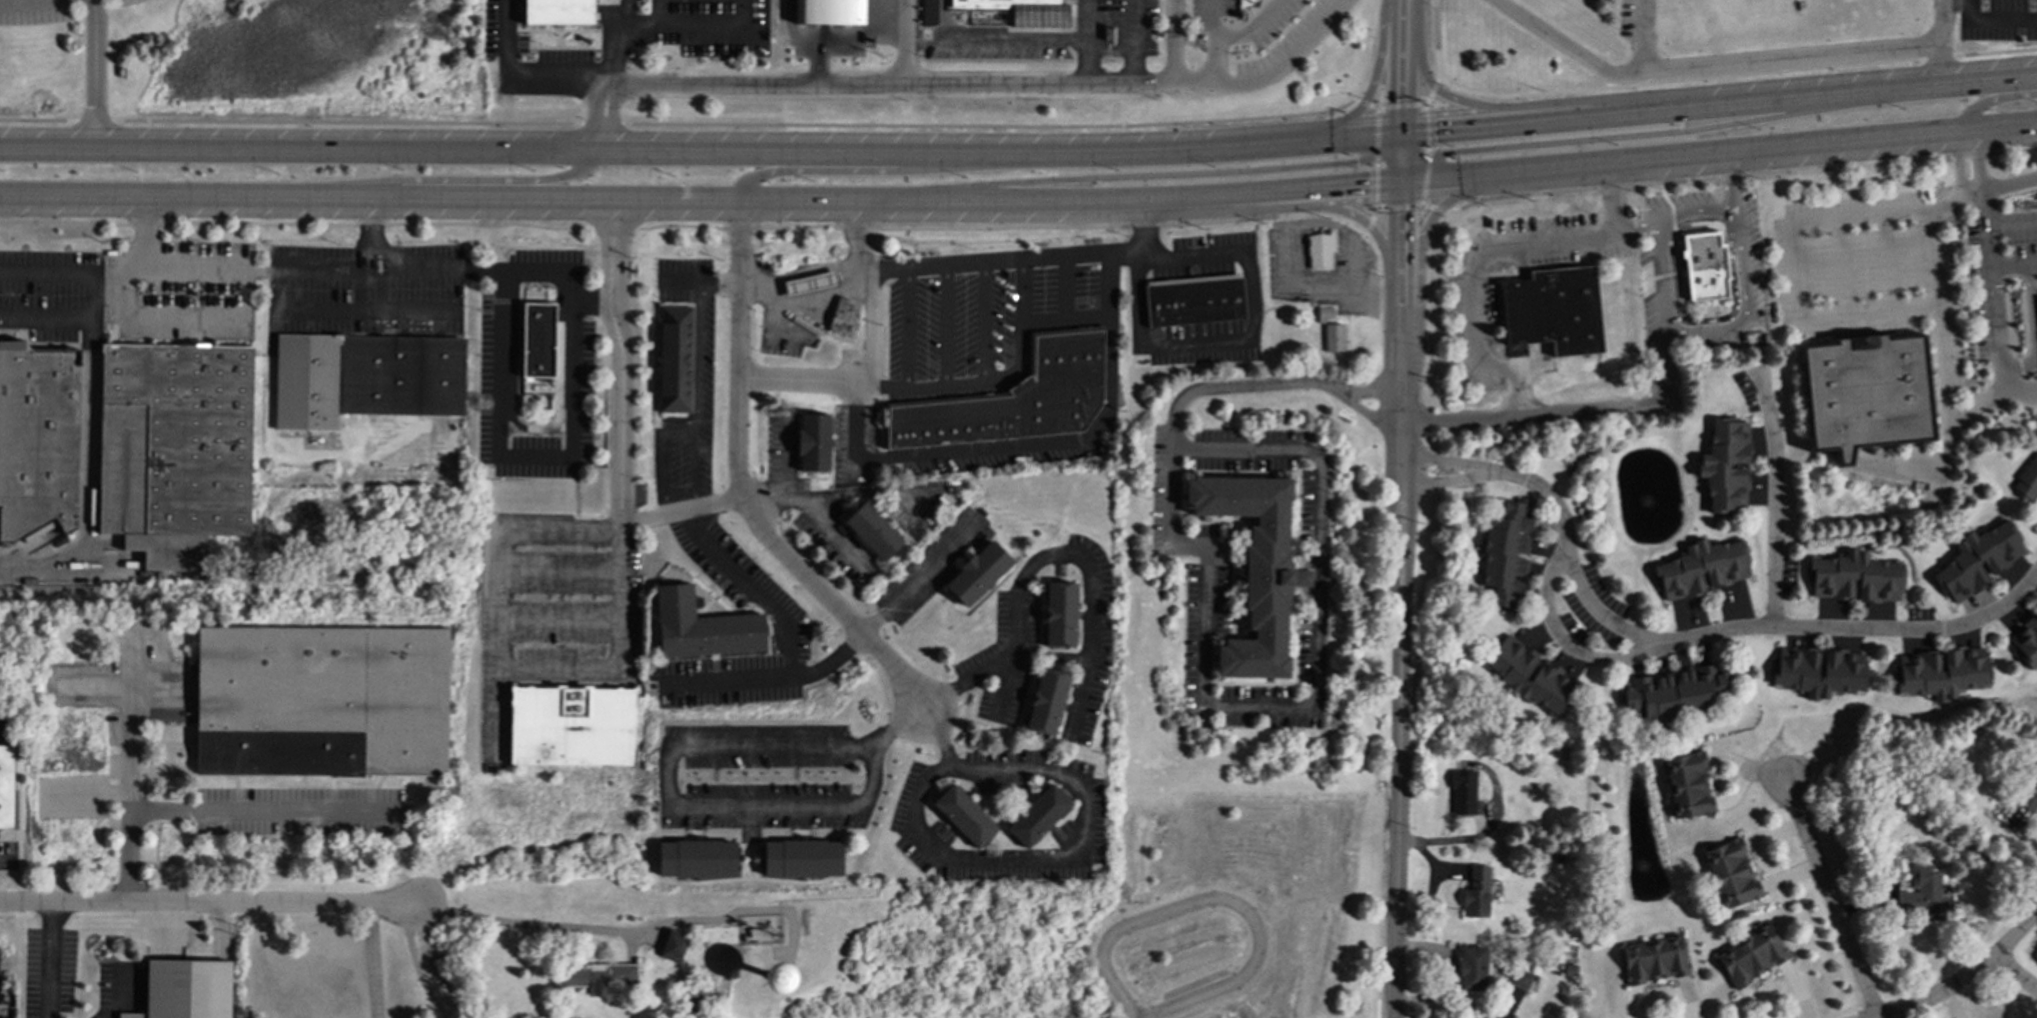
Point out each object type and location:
road: (16, 1)
parking lot: (634, 2)
road: (879, 2)
parking lot: (123, 3)
building: (1020, 10)
parking lot: (35, 11)
building: (558, 12)
road: (807, 12)
building: (829, 12)
building: (929, 12)
road: (891, 13)
road: (661, 14)
road: (629, 16)
road: (1211, 18)
parking lot: (1632, 18)
parking lot: (1997, 19)
road: (944, 20)
road: (1087, 20)
road: (1940, 22)
road: (1992, 22)
parking lot: (710, 26)
road: (700, 28)
road: (506, 29)
parking lot: (1062, 36)
road: (1232, 37)
road: (1644, 37)
road: (848, 39)
parking lot: (1260, 39)
road: (1436, 39)
road: (996, 40)
road: (1174, 41)
road: (906, 42)
road: (1135, 42)
road: (1111, 50)
road: (1994, 51)
parking lot: (563, 52)
flagpole: (880, 54)
road: (1287, 57)
road: (1938, 57)
road: (1086, 62)
park: (242, 63)
road: (1402, 66)
road: (1723, 66)
road: (93, 73)
road: (1680, 80)
road: (590, 83)
road: (1194, 83)
road: (861, 85)
road: (1370, 89)
road: (1432, 91)
traffic signals: (1402, 99)
road: (1990, 100)
road: (1365, 103)
road: (1402, 105)
road: (1719, 105)
road: (1517, 106)
road: (729, 124)
traffic signals: (1434, 130)
road: (1635, 136)
road: (1823, 144)
road: (701, 151)
traffic signals: (1447, 153)
road: (1428, 154)
road: (1375, 158)
road: (1402, 158)
traffic signals: (1357, 162)
road: (1977, 162)
road: (1958, 166)
road: (874, 172)
road: (1505, 173)
road: (1153, 175)
road: (1741, 176)
road: (452, 180)
road: (1731, 182)
traffic signals: (1369, 185)
road: (2006, 186)
road: (1612, 197)
road: (701, 201)
road: (1294, 206)
road: (1984, 206)
road: (1397, 207)
road: (1434, 208)
traffic signals: (1402, 213)
road: (1698, 215)
road: (2012, 220)
road: (1370, 221)
road: (1312, 223)
road: (685, 225)
road: (1147, 225)
road: (1402, 228)
road: (1639, 229)
road: (146, 230)
road: (369, 233)
road: (1419, 244)
road: (1790, 247)
building: (1320, 250)
road: (1125, 252)
road: (1192, 257)
parking lot: (1202, 257)
road: (1034, 259)
road: (1886, 263)
building: (1704, 265)
road: (2014, 265)
road: (1842, 267)
parking lot: (1346, 268)
parking lot: (1997, 271)
road: (46, 272)
road: (571, 274)
parking lot: (1868, 274)
road: (700, 282)
road: (1473, 282)
building: (810, 283)
gas station: (810, 283)
road: (1403, 286)
parking lot: (366, 289)
road: (1065, 289)
road: (369, 290)
road: (109, 293)
parking lot: (179, 293)
road: (1021, 295)
parking lot: (55, 297)
road: (806, 298)
road: (1139, 299)
road: (592, 300)
building: (1194, 302)
parking lot: (801, 304)
road: (1748, 306)
building: (1553, 310)
road: (344, 311)
building: (1325, 312)
parking lot: (987, 314)
building: (844, 316)
road: (185, 318)
road: (1938, 318)
road: (46, 319)
road: (1997, 322)
road: (983, 323)
road: (945, 326)
road: (1404, 327)
road: (2034, 328)
road: (906, 329)
road: (870, 334)
building: (1334, 337)
building: (538, 339)
road: (1235, 339)
parking lot: (1197, 343)
building: (675, 359)
parking lot: (702, 359)
road: (1404, 366)
parking lot: (578, 368)
road: (1010, 376)
building: (365, 378)
road: (798, 380)
road: (1237, 385)
road: (1375, 388)
building: (1866, 393)
parking lot: (509, 395)
road: (695, 395)
building: (1014, 398)
road: (1630, 408)
road: (1371, 416)
road: (624, 427)
building: (37, 440)
building: (813, 442)
building: (176, 449)
parking lot: (782, 450)
parking lot: (943, 450)
road: (949, 453)
road: (662, 455)
road: (787, 458)
road: (88, 459)
road: (1941, 461)
road: (1461, 462)
building: (1725, 466)
road: (1460, 478)
building: (2027, 478)
road: (742, 488)
parking lot: (1167, 491)
road: (895, 495)
road: (811, 496)
parking lot: (920, 502)
road: (1776, 504)
parking lot: (1311, 523)
road: (832, 528)
building: (872, 532)
parking lot: (837, 542)
road: (34, 543)
building: (1506, 554)
road: (1044, 556)
parking lot: (79, 560)
road: (114, 560)
building: (1978, 560)
parking lot: (932, 566)
building: (1255, 569)
building: (1701, 569)
road: (561, 570)
building: (978, 573)
building: (1855, 578)
road: (917, 580)
parking lot: (743, 581)
road: (499, 583)
road: (751, 589)
parking lot: (552, 612)
building: (1060, 614)
road: (560, 622)
building: (705, 627)
parking lot: (1208, 627)
road: (1739, 630)
parking lot: (1089, 638)
building: (2027, 642)
road: (1570, 648)
road: (1051, 655)
parking lot: (1003, 657)
road: (622, 660)
building: (1818, 671)
building: (1942, 673)
building: (1530, 676)
road: (770, 678)
parking lot: (732, 680)
building: (1674, 692)
road: (1399, 696)
building: (323, 700)
building: (1047, 701)
road: (1313, 708)
building: (573, 725)
road: (893, 727)
parking lot: (7, 731)
road: (132, 738)
parking lot: (1021, 772)
road: (351, 779)
parking lot: (766, 783)
building: (1687, 785)
building: (7, 787)
road: (236, 788)
building: (1464, 793)
road: (675, 803)
road: (221, 810)
parking lot: (301, 811)
parking lot: (922, 813)
building: (1039, 815)
building: (964, 816)
road: (18, 822)
road: (1472, 835)
parking lot: (1038, 849)
road: (1080, 850)
parking lot: (8, 855)
road: (6, 857)
building: (696, 858)
building: (803, 858)
building: (1892, 870)
building: (1731, 873)
building: (1476, 892)
building: (1921, 894)
road: (1221, 896)
road: (207, 901)
road: (1832, 901)
road: (626, 932)
building: (758, 932)
building: (674, 945)
building: (1751, 954)
road: (50, 959)
building: (1654, 959)
road: (372, 960)
road: (415, 963)
parking lot: (49, 966)
building: (1472, 968)
road: (1966, 973)
road: (2015, 973)
water tower: (778, 975)
building: (1520, 978)
building: (600, 979)
parking lot: (120, 988)
building: (186, 989)
road: (117, 996)

